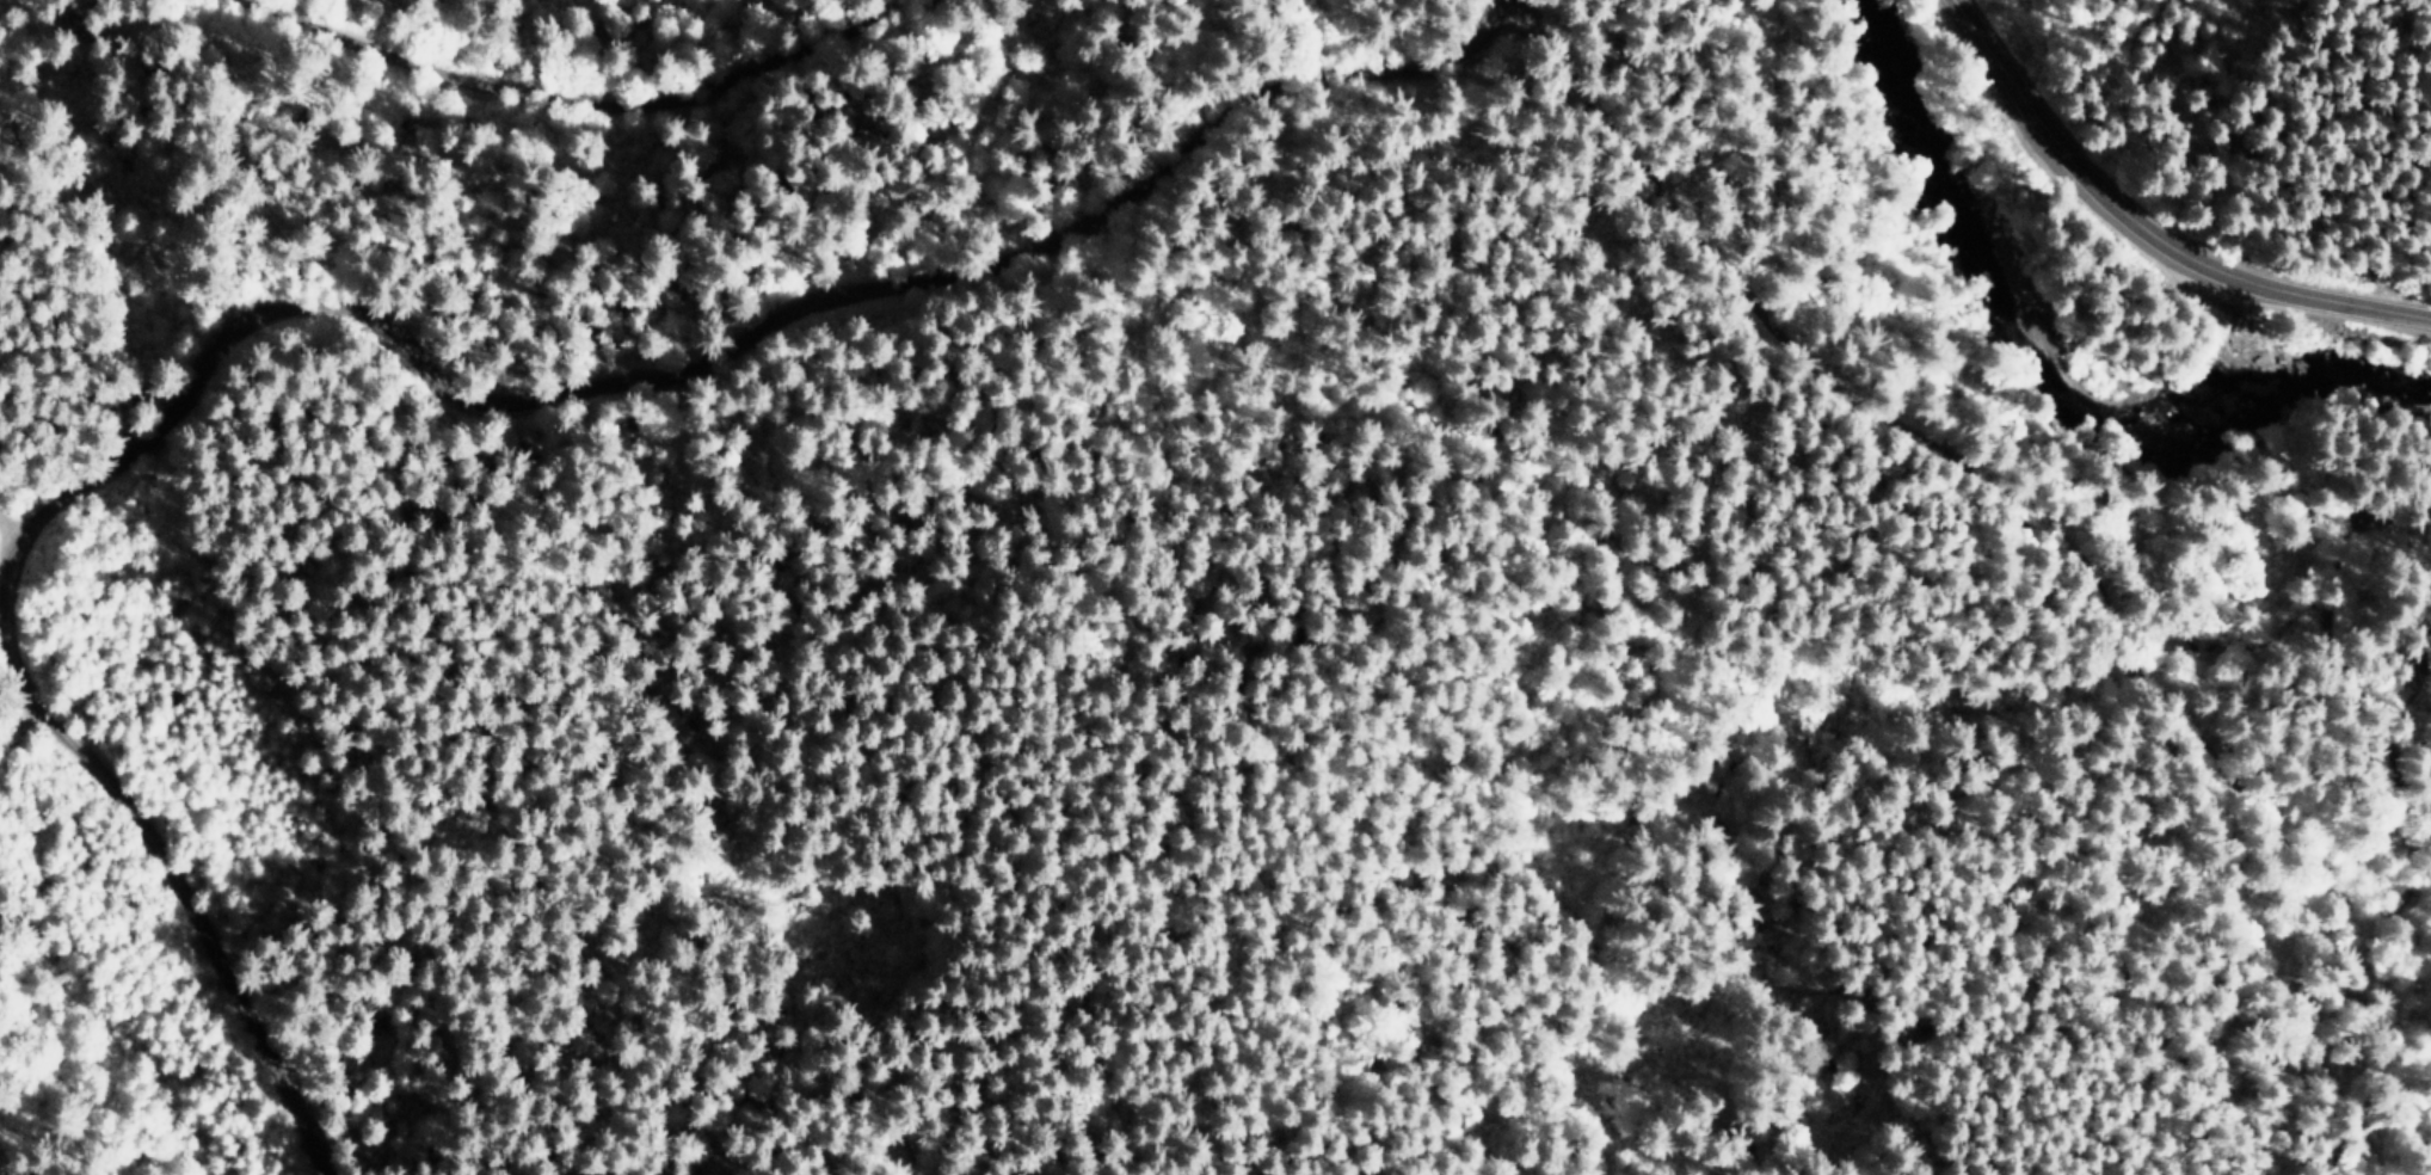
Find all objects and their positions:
road: (1516, 38)
road: (621, 56)
road: (2131, 248)
road: (369, 281)
road: (1413, 347)
river: (2047, 350)
road: (39, 407)
road: (2049, 553)
road: (44, 693)

